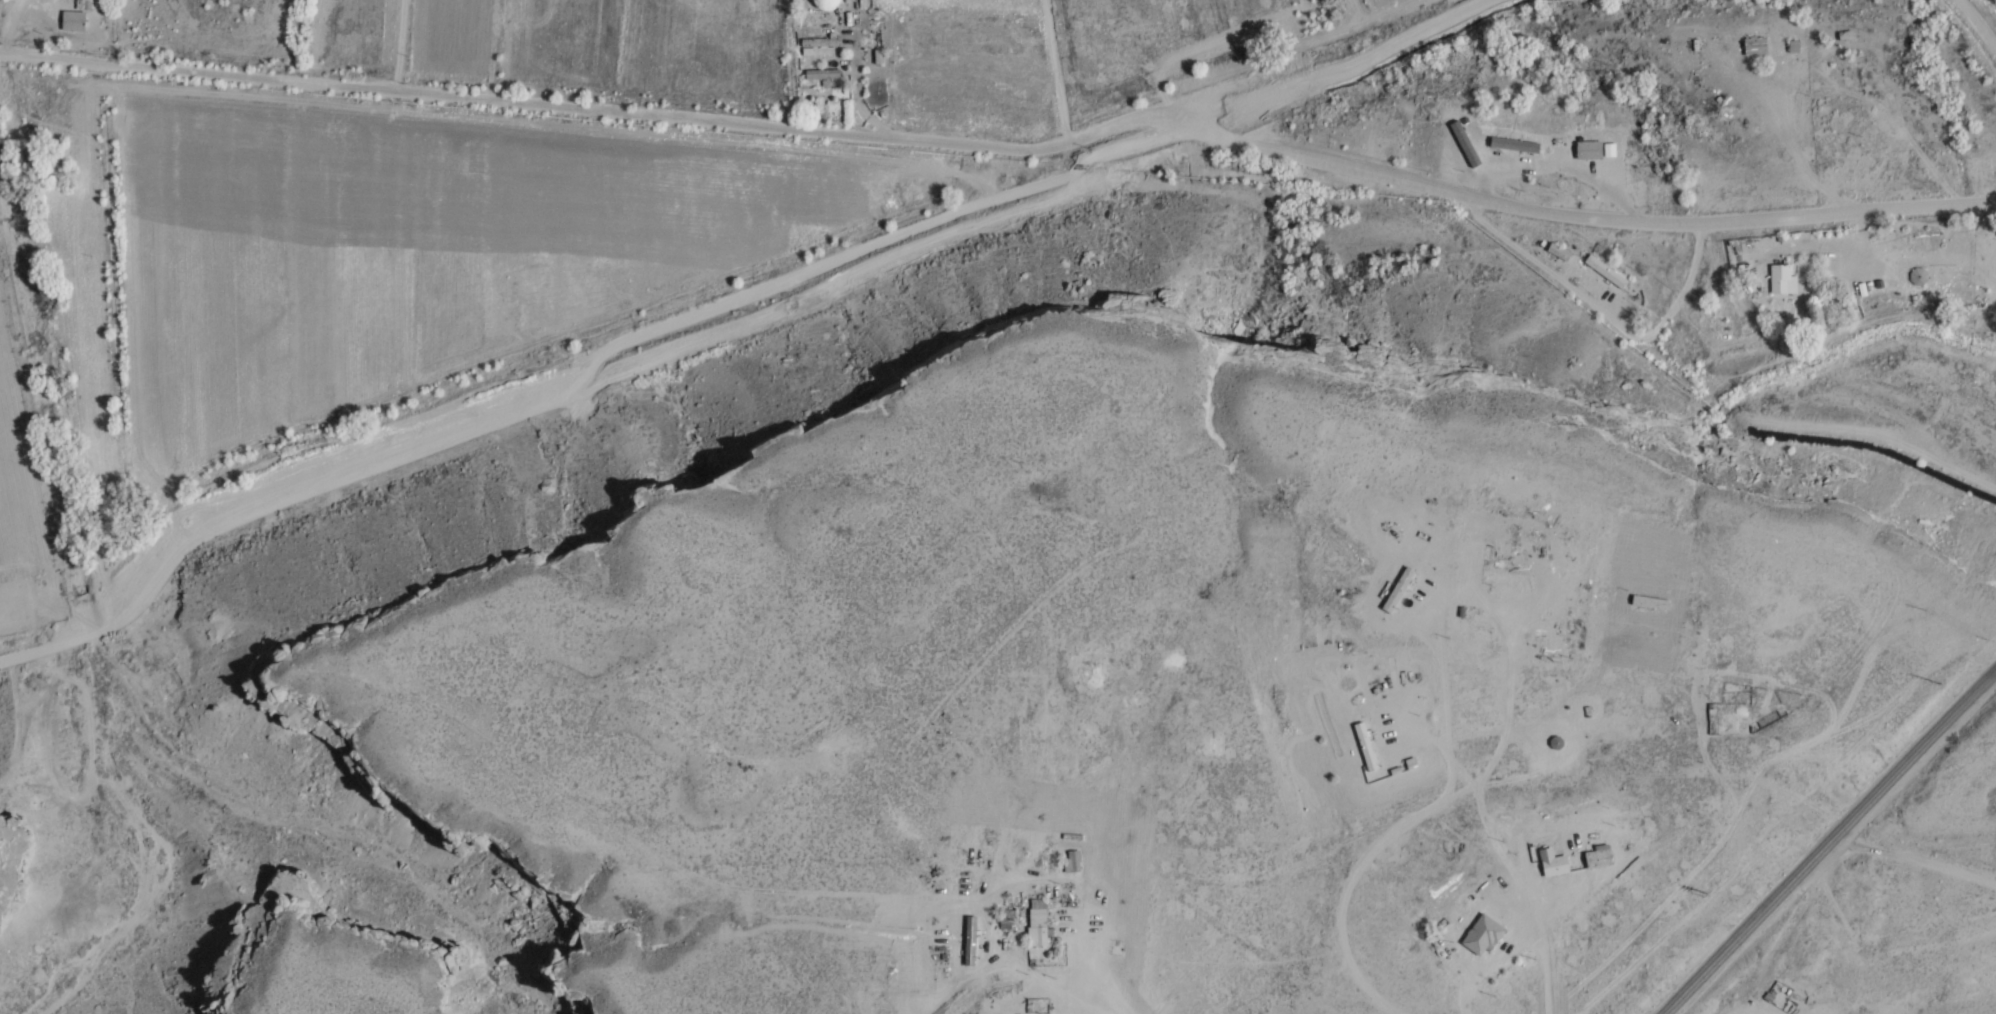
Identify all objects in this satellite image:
building: (86, 4)
building: (73, 21)
road: (1978, 21)
building: (820, 46)
building: (1756, 46)
road: (1342, 69)
building: (822, 74)
road: (596, 110)
building: (1515, 145)
building: (1589, 150)
building: (50, 161)
road: (1437, 187)
road: (1842, 214)
building: (1605, 271)
building: (1919, 277)
building: (1783, 280)
building: (1855, 298)
road: (580, 384)
river: (78, 553)
building: (1506, 578)
building: (1398, 590)
building: (1650, 602)
building: (1366, 747)
road: (1535, 814)
road: (1828, 842)
road: (1375, 848)
building: (1598, 857)
building: (1076, 860)
building: (1556, 865)
building: (1038, 921)
building: (1483, 935)
building: (970, 940)
road: (1876, 950)

